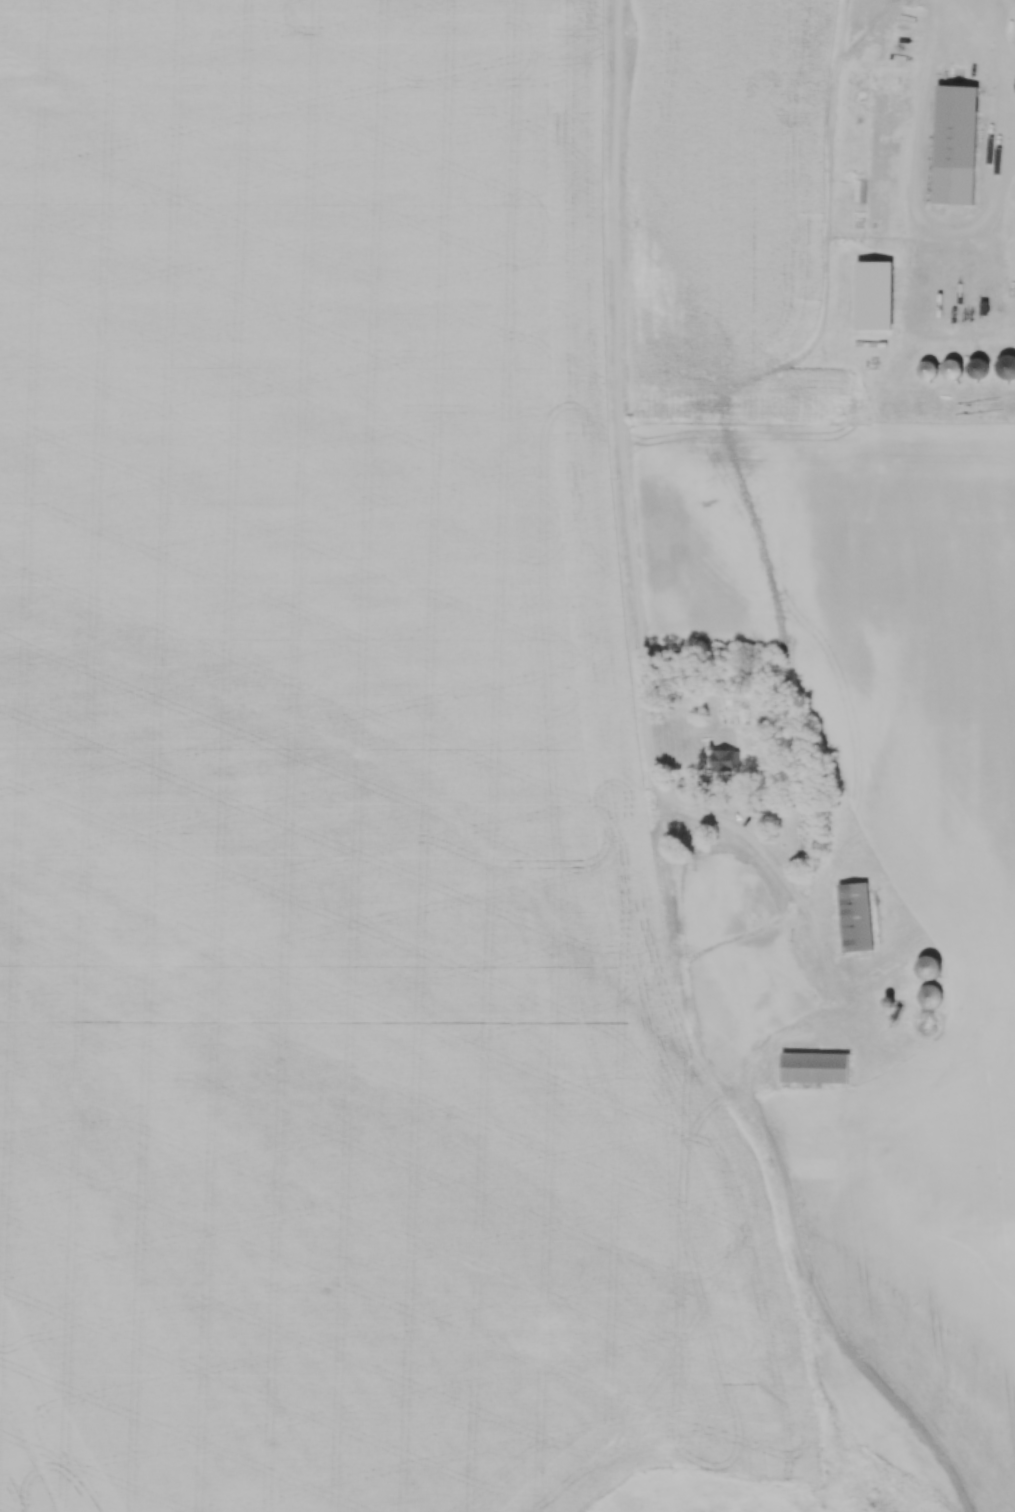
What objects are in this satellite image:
road: (964, 14)
building: (955, 144)
road: (954, 230)
building: (874, 294)
road: (617, 437)
building: (724, 759)
road: (801, 912)
building: (855, 916)
building: (815, 1067)

